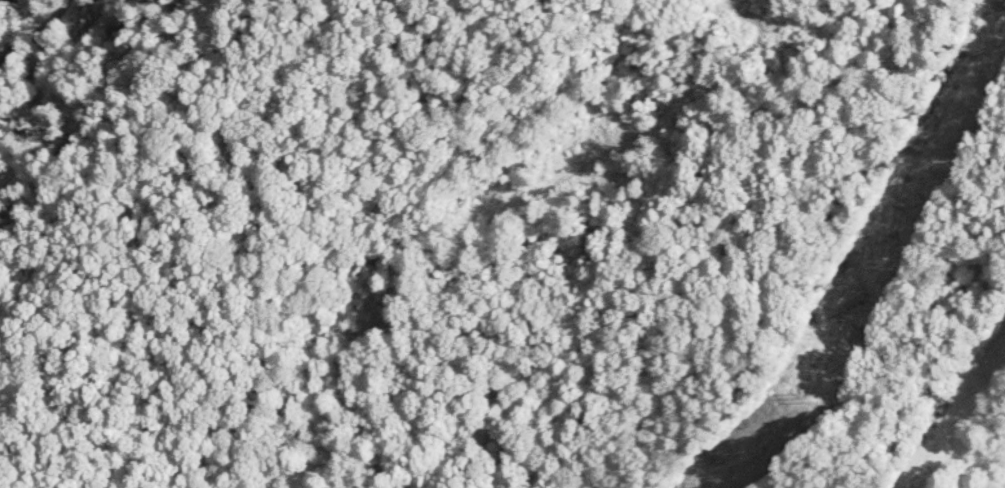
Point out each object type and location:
road: (863, 434)

